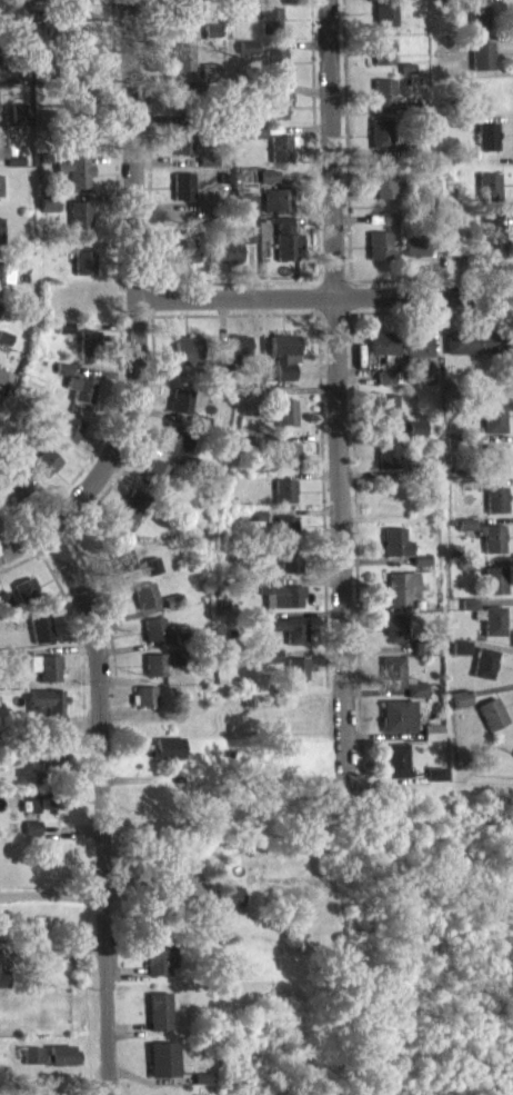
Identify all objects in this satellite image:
building: (268, 0)
building: (466, 0)
building: (78, 14)
building: (242, 16)
building: (188, 23)
building: (384, 23)
building: (476, 26)
building: (269, 30)
building: (212, 40)
building: (77, 51)
building: (247, 57)
building: (382, 61)
building: (481, 66)
building: (183, 67)
building: (274, 73)
building: (210, 81)
building: (76, 102)
building: (383, 102)
building: (182, 106)
building: (275, 117)
building: (20, 123)
road: (149, 139)
road: (314, 139)
road: (345, 140)
building: (78, 142)
building: (255, 142)
building: (380, 143)
building: (487, 147)
building: (181, 152)
building: (281, 159)
building: (73, 185)
building: (269, 187)
building: (384, 190)
building: (0, 197)
building: (182, 197)
building: (487, 197)
building: (276, 210)
building: (48, 215)
building: (79, 225)
building: (388, 229)
building: (1, 241)
building: (494, 245)
road: (135, 246)
building: (285, 250)
building: (455, 252)
building: (233, 256)
building: (380, 256)
building: (414, 257)
building: (182, 262)
building: (81, 272)
building: (6, 285)
road: (325, 293)
building: (0, 317)
building: (64, 338)
building: (472, 352)
building: (383, 354)
building: (89, 355)
building: (238, 356)
building: (416, 357)
building: (187, 361)
building: (284, 365)
building: (62, 378)
building: (4, 388)
building: (384, 388)
road: (336, 390)
building: (80, 399)
building: (0, 409)
building: (180, 411)
building: (386, 417)
building: (284, 422)
building: (493, 427)
building: (416, 438)
building: (69, 439)
building: (253, 449)
building: (174, 451)
building: (388, 465)
building: (286, 466)
building: (494, 468)
building: (46, 472)
building: (157, 481)
building: (13, 499)
building: (284, 501)
building: (495, 510)
building: (128, 520)
building: (255, 525)
road: (53, 527)
building: (465, 535)
building: (285, 536)
building: (491, 548)
building: (402, 557)
building: (125, 569)
building: (289, 571)
building: (151, 576)
building: (493, 591)
building: (24, 599)
building: (401, 599)
building: (280, 605)
building: (145, 606)
building: (4, 610)
building: (469, 615)
building: (493, 631)
building: (283, 637)
building: (395, 638)
building: (40, 639)
building: (153, 639)
building: (461, 658)
building: (270, 666)
building: (484, 674)
building: (40, 675)
building: (154, 675)
building: (295, 679)
building: (392, 683)
building: (416, 700)
building: (144, 707)
building: (460, 709)
building: (47, 719)
building: (492, 725)
building: (398, 726)
building: (432, 743)
building: (168, 759)
building: (52, 763)
building: (396, 772)
building: (434, 784)
road: (101, 810)
building: (47, 813)
building: (32, 838)
road: (52, 890)
building: (232, 907)
building: (203, 923)
building: (160, 968)
building: (3, 989)
building: (159, 1022)
building: (32, 1065)
building: (62, 1065)
building: (162, 1071)
building: (202, 1088)

